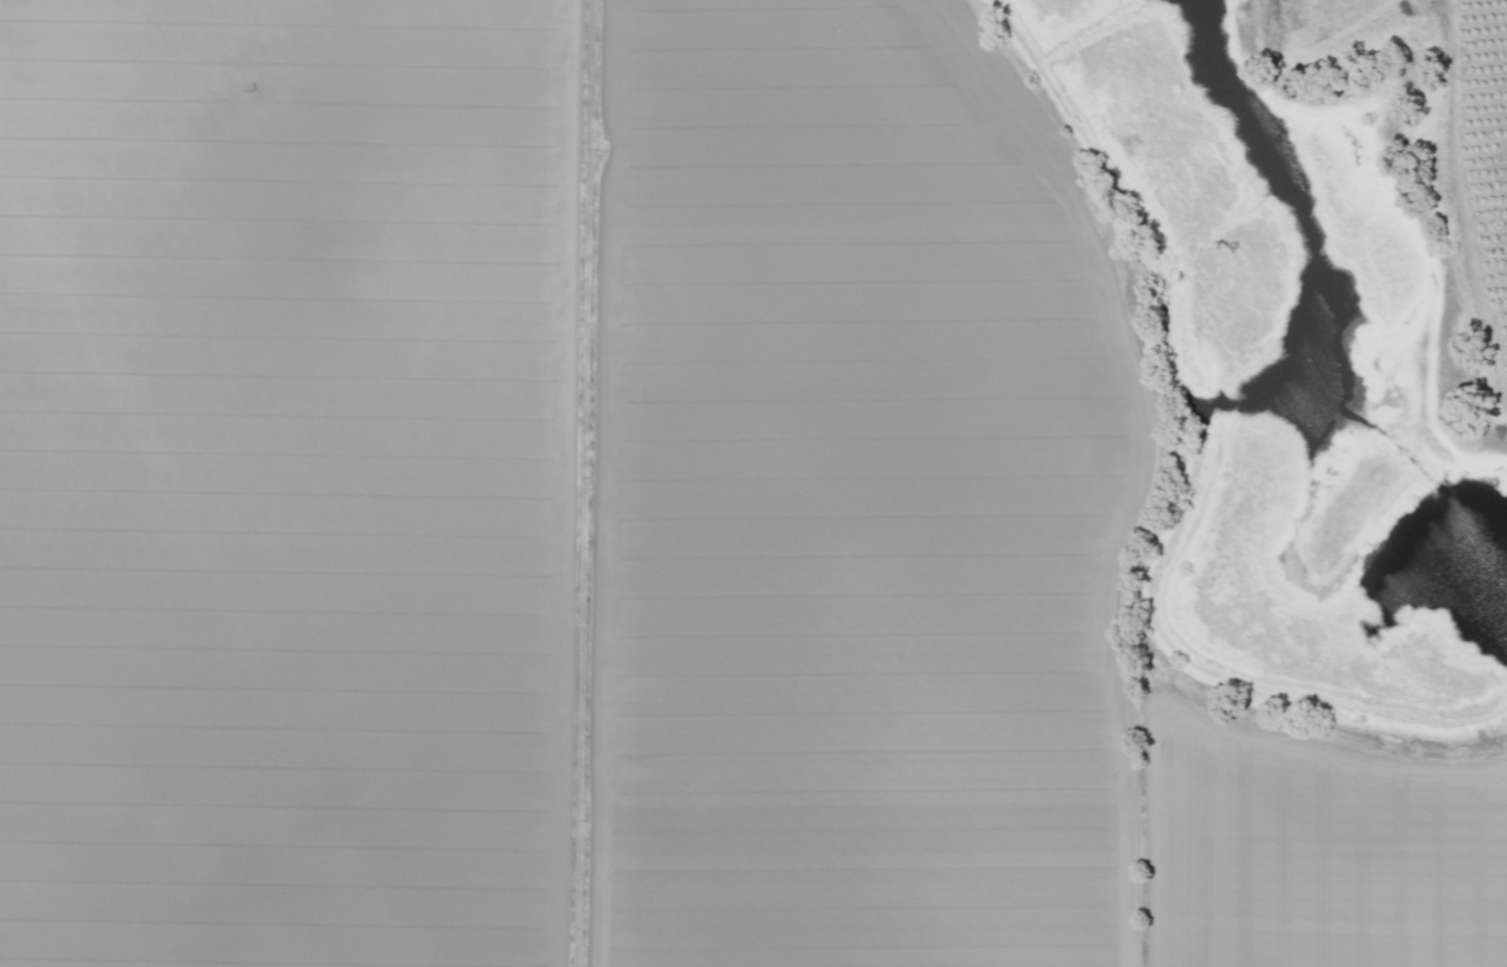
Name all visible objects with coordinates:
crop: (635, 517)

